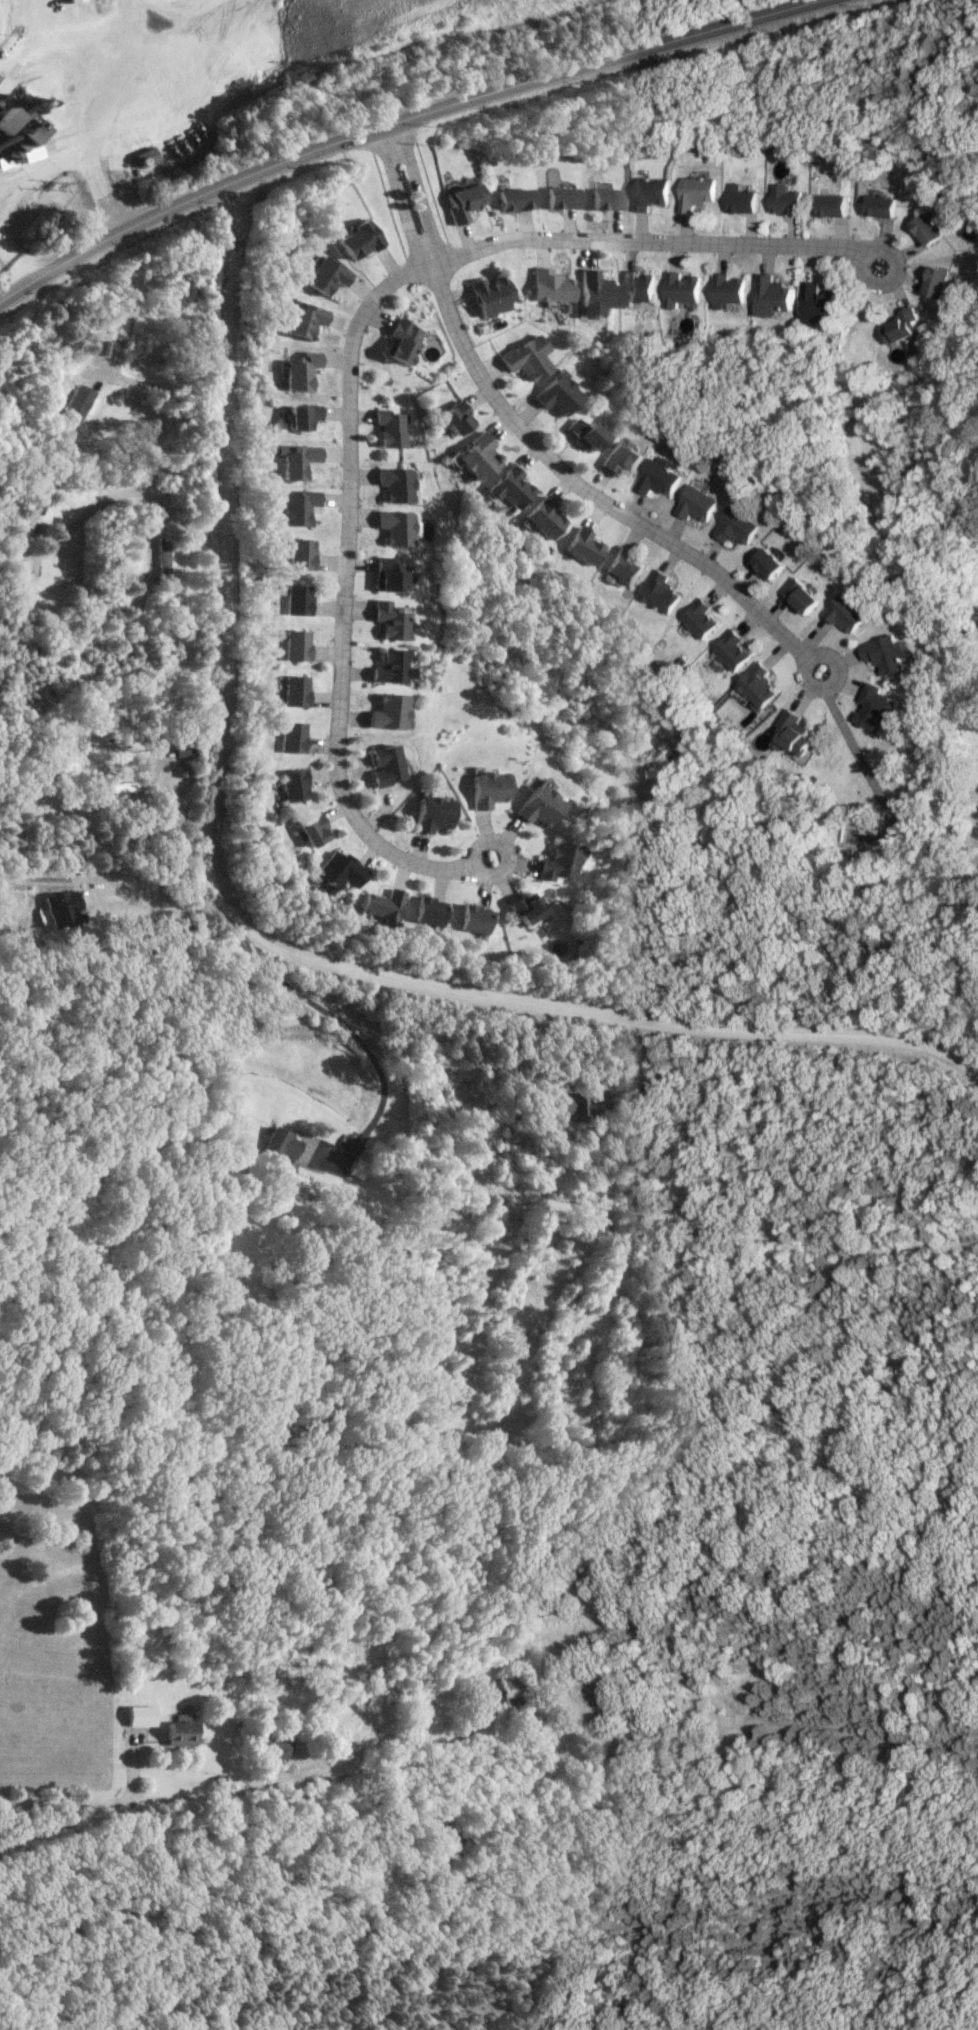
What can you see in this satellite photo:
building: (72, 1)
road: (163, 79)
road: (396, 120)
road: (79, 156)
road: (416, 189)
building: (565, 190)
building: (519, 192)
building: (611, 192)
building: (791, 192)
building: (747, 194)
road: (393, 197)
building: (460, 200)
road: (654, 238)
building: (357, 239)
road: (15, 259)
building: (325, 275)
building: (942, 275)
building: (551, 279)
building: (597, 285)
building: (484, 295)
building: (824, 296)
building: (303, 319)
building: (396, 342)
building: (100, 346)
building: (298, 371)
road: (170, 387)
building: (298, 415)
building: (452, 417)
building: (386, 428)
building: (474, 456)
building: (293, 459)
building: (391, 483)
road: (133, 486)
road: (583, 487)
building: (699, 503)
building: (293, 505)
building: (543, 516)
building: (390, 526)
building: (739, 526)
building: (583, 546)
building: (297, 554)
building: (161, 556)
building: (772, 564)
building: (623, 566)
building: (386, 576)
building: (20, 579)
building: (660, 592)
road: (339, 593)
building: (805, 595)
building: (295, 600)
building: (850, 613)
building: (701, 618)
building: (384, 619)
building: (294, 646)
building: (735, 650)
building: (890, 654)
building: (383, 668)
building: (760, 685)
road: (832, 687)
building: (292, 691)
building: (879, 708)
building: (383, 712)
building: (796, 733)
building: (105, 737)
building: (290, 737)
building: (180, 748)
road: (859, 751)
building: (382, 766)
building: (293, 785)
building: (485, 789)
building: (535, 806)
building: (430, 813)
building: (312, 831)
road: (502, 846)
building: (558, 862)
building: (338, 870)
building: (384, 904)
road: (161, 907)
building: (526, 909)
building: (429, 910)
building: (91, 916)
building: (473, 918)
road: (245, 922)
road: (344, 1023)
building: (575, 1105)
building: (506, 1107)
building: (280, 1145)
building: (357, 1168)
building: (360, 1697)
building: (140, 1715)
building: (179, 1733)
building: (279, 1749)
road: (150, 1802)

